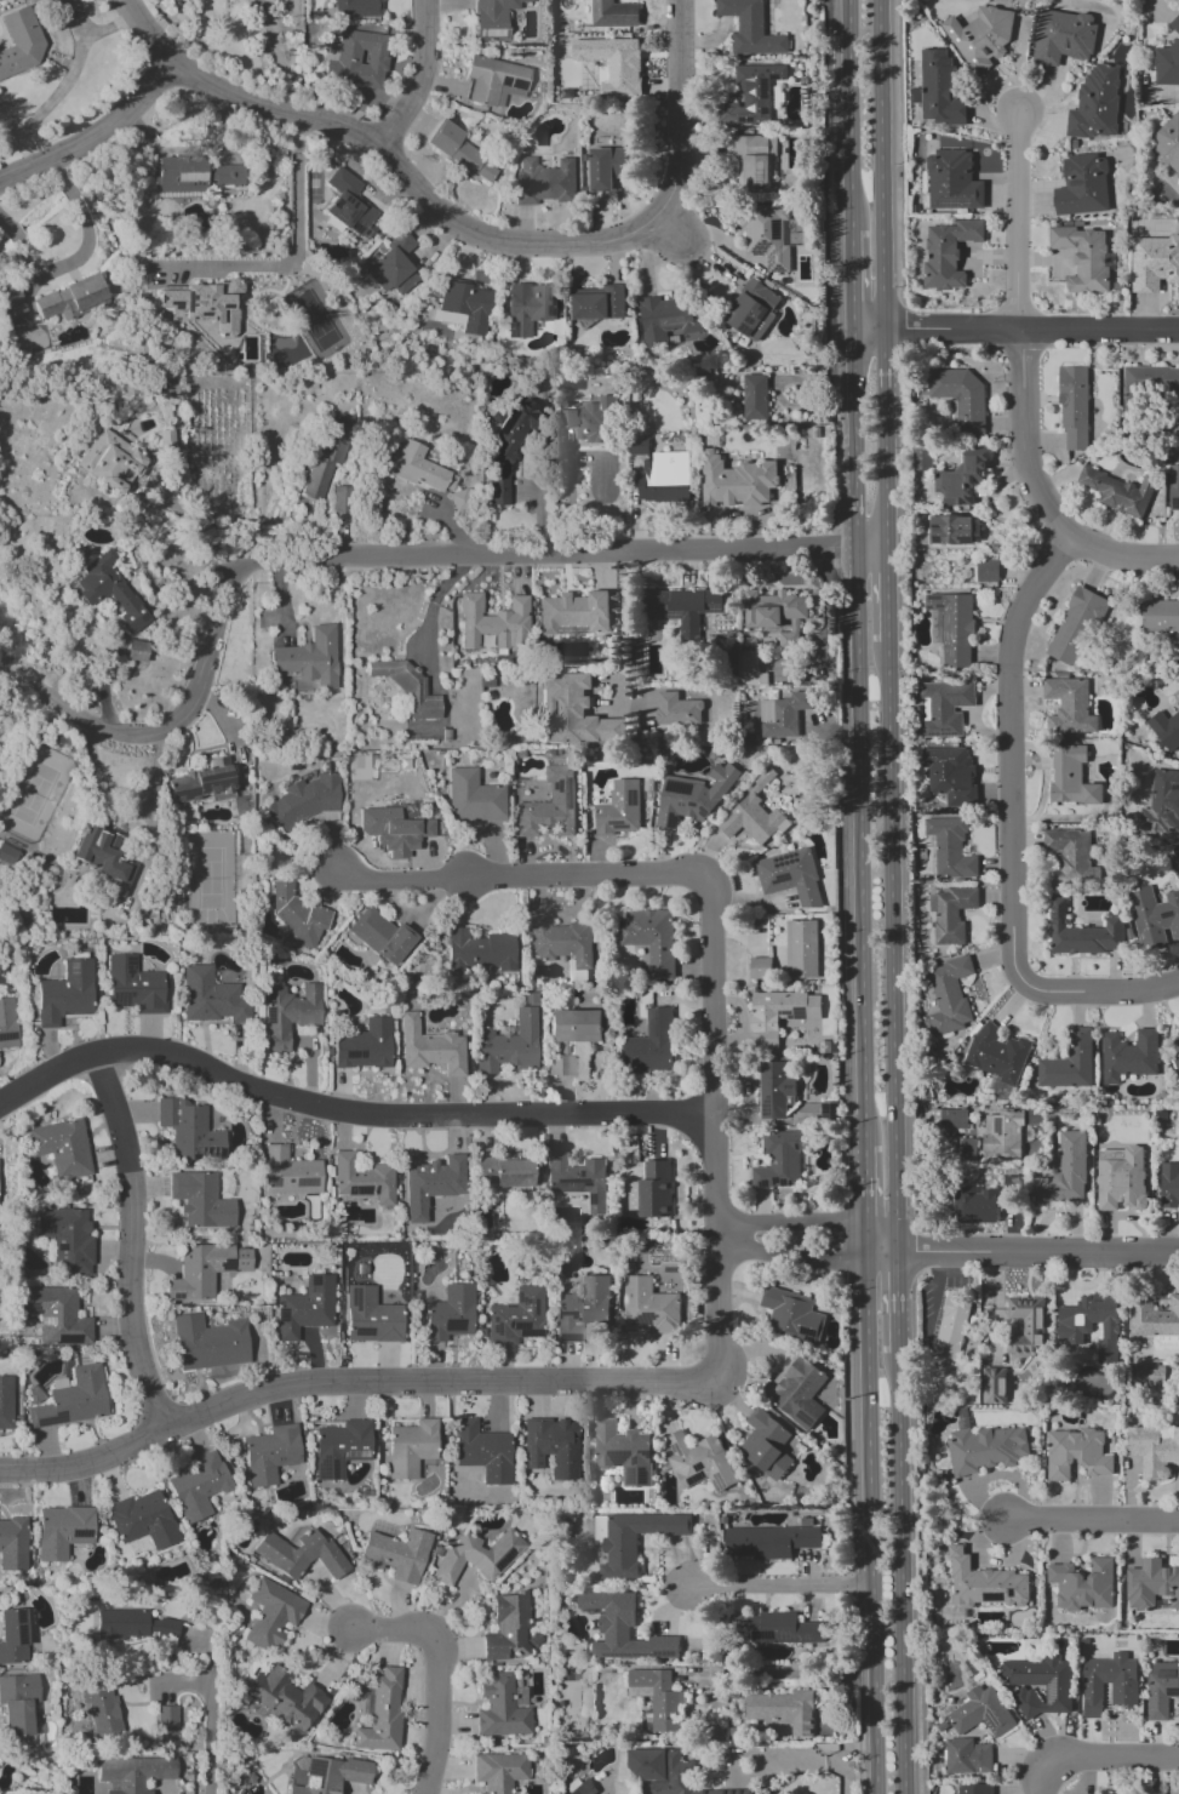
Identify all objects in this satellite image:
building: (355, 8)
building: (613, 13)
building: (492, 17)
building: (750, 28)
building: (1063, 36)
building: (980, 38)
building: (19, 42)
building: (355, 59)
building: (1167, 59)
building: (613, 63)
rooftop solar panel: (773, 76)
road: (422, 78)
building: (493, 81)
rooftop solar panel: (505, 82)
rooftop solar panel: (522, 84)
rooftop solar panel: (765, 88)
building: (938, 90)
building: (751, 95)
building: (1095, 103)
road: (845, 115)
rooftop solar panel: (739, 119)
rooftop solar panel: (749, 120)
road: (91, 136)
building: (1168, 144)
building: (462, 153)
building: (755, 161)
road: (878, 164)
building: (608, 166)
building: (191, 175)
building: (544, 181)
building: (952, 181)
building: (1082, 185)
rooftop solar panel: (342, 200)
rooftop solar panel: (349, 202)
rooftop solar panel: (332, 204)
rooftop solar panel: (948, 204)
rooftop solar panel: (967, 205)
building: (350, 206)
rooftop solar panel: (351, 207)
road: (1017, 219)
rooftop solar panel: (333, 222)
rooftop solar panel: (355, 229)
road: (475, 233)
building: (766, 234)
rooftop solar panel: (365, 235)
rooftop solar panel: (760, 248)
road: (294, 252)
building: (948, 252)
building: (1084, 257)
road: (76, 258)
rooftop solar panel: (769, 258)
building: (1154, 262)
rooftop solar panel: (768, 264)
building: (393, 267)
rooftop solar panel: (778, 270)
road: (847, 279)
building: (70, 298)
building: (12, 302)
building: (205, 303)
building: (597, 303)
rooftop solar panel: (553, 304)
building: (528, 307)
building: (462, 308)
building: (752, 309)
rooftop solar panel: (761, 312)
building: (666, 320)
rooftop solar panel: (749, 321)
road: (932, 327)
road: (1098, 327)
rooftop solar panel: (744, 331)
rooftop solar panel: (511, 332)
road: (882, 364)
road: (848, 382)
building: (1145, 388)
building: (754, 396)
building: (960, 398)
building: (1074, 406)
rooftop solar panel: (505, 421)
building: (590, 421)
building: (509, 447)
building: (921, 458)
building: (325, 461)
building: (108, 462)
building: (417, 469)
road: (882, 475)
building: (664, 478)
building: (962, 478)
building: (736, 481)
building: (1173, 489)
building: (1117, 491)
road: (849, 492)
road: (571, 493)
road: (1036, 493)
building: (459, 501)
road: (185, 524)
building: (951, 530)
rooftop solar panel: (938, 531)
rooftop solar panel: (937, 543)
rooftop solar panel: (967, 543)
road: (382, 556)
building: (986, 571)
building: (109, 590)
road: (883, 596)
rooftop solar panel: (934, 599)
building: (682, 609)
rooftop solar panel: (711, 609)
building: (574, 613)
building: (774, 615)
building: (1160, 615)
rooftop solar panel: (669, 616)
road: (430, 618)
rooftop solar panel: (946, 619)
building: (493, 622)
building: (951, 625)
building: (1075, 625)
road: (618, 628)
rooftop solar panel: (948, 636)
building: (136, 650)
rooftop solar panel: (950, 653)
building: (307, 661)
building: (746, 668)
building: (406, 687)
building: (1068, 705)
building: (944, 707)
building: (676, 710)
building: (574, 712)
building: (782, 714)
building: (1166, 729)
rooftop solar panel: (944, 736)
rooftop solar panel: (933, 737)
road: (1011, 756)
building: (949, 775)
building: (1071, 777)
rooftop solar panel: (210, 778)
building: (202, 782)
rooftop solar panel: (219, 784)
rooftop solar panel: (555, 785)
rooftop solar panel: (568, 790)
rooftop solar panel: (184, 795)
building: (692, 796)
building: (305, 798)
building: (473, 798)
rooftop solar panel: (633, 798)
building: (1162, 802)
rooftop solar panel: (693, 804)
building: (549, 805)
rooftop solar panel: (567, 807)
building: (618, 809)
building: (407, 812)
rooftop solar panel: (703, 813)
rooftop solar panel: (570, 815)
road: (118, 816)
building: (752, 817)
rooftop solar panel: (670, 822)
rooftop solar panel: (618, 825)
building: (393, 830)
road: (854, 849)
building: (949, 849)
building: (1174, 855)
building: (7, 856)
building: (101, 857)
building: (789, 876)
rooftop solar panel: (783, 880)
rooftop solar panel: (1064, 910)
building: (950, 914)
rooftop solar panel: (1055, 915)
building: (1154, 918)
building: (297, 919)
building: (1082, 933)
building: (379, 936)
road: (710, 936)
building: (651, 939)
building: (560, 941)
road: (889, 942)
building: (801, 949)
building: (479, 952)
rooftop solar panel: (128, 965)
building: (760, 967)
building: (133, 987)
road: (1103, 993)
building: (64, 994)
building: (949, 995)
building: (212, 996)
rooftop solar panel: (122, 999)
rooftop solar panel: (775, 1012)
rooftop solar panel: (784, 1012)
building: (288, 1013)
building: (779, 1013)
rooftop solar panel: (797, 1013)
rooftop solar panel: (786, 1016)
building: (7, 1023)
building: (574, 1025)
building: (508, 1042)
building: (651, 1044)
building: (364, 1045)
building: (430, 1047)
building: (1174, 1055)
rooftop solar panel: (350, 1056)
building: (1128, 1056)
building: (997, 1057)
building: (1068, 1062)
rooftop solar panel: (785, 1089)
building: (774, 1090)
rooftop solar panel: (765, 1107)
rooftop solar panel: (828, 1109)
rooftop solar panel: (835, 1110)
road: (344, 1114)
building: (949, 1119)
rooftop solar panel: (996, 1126)
building: (189, 1131)
building: (1007, 1131)
building: (61, 1147)
building: (778, 1161)
building: (290, 1172)
building: (502, 1172)
building: (1063, 1173)
building: (362, 1178)
building: (1120, 1178)
rooftop solar panel: (567, 1179)
building: (578, 1179)
rooftop solar panel: (774, 1181)
rooftop solar panel: (308, 1183)
rooftop solar panel: (782, 1183)
rooftop solar panel: (790, 1183)
building: (431, 1184)
rooftop solar panel: (763, 1185)
building: (1169, 1185)
rooftop solar panel: (355, 1189)
building: (654, 1189)
road: (860, 1195)
building: (200, 1200)
building: (974, 1205)
rooftop solar panel: (45, 1225)
building: (65, 1238)
rooftop solar panel: (62, 1239)
road: (859, 1239)
road: (131, 1241)
rooftop solar panel: (62, 1247)
road: (1019, 1247)
rooftop solar panel: (61, 1261)
rooftop solar panel: (225, 1264)
building: (207, 1272)
rooftop solar panel: (307, 1282)
road: (895, 1296)
rooftop solar panel: (349, 1297)
rooftop solar panel: (522, 1302)
building: (304, 1307)
rooftop solar panel: (533, 1307)
building: (648, 1307)
rooftop solar panel: (25, 1308)
building: (583, 1310)
building: (448, 1313)
rooftop solar panel: (565, 1313)
building: (791, 1315)
building: (370, 1316)
building: (57, 1318)
building: (515, 1318)
building: (1152, 1318)
rooftop solar panel: (45, 1320)
rooftop solar panel: (492, 1320)
building: (1024, 1324)
rooftop solar panel: (448, 1326)
building: (952, 1326)
rooftop solar panel: (497, 1329)
building: (1074, 1329)
rooftop solar panel: (527, 1331)
rooftop solar panel: (360, 1333)
rooftop solar panel: (566, 1338)
building: (208, 1342)
building: (1146, 1375)
road: (345, 1384)
building: (994, 1384)
building: (799, 1392)
building: (71, 1399)
building: (5, 1402)
building: (765, 1444)
building: (551, 1446)
building: (340, 1447)
building: (411, 1447)
rooftop solar panel: (675, 1449)
building: (985, 1449)
building: (1154, 1450)
building: (482, 1451)
building: (623, 1452)
rooftop solar panel: (646, 1453)
building: (1076, 1453)
building: (271, 1455)
rooftop solar panel: (618, 1458)
building: (699, 1461)
rooftop solar panel: (698, 1468)
rooftop solar panel: (322, 1469)
rooftop solar panel: (328, 1469)
rooftop solar panel: (633, 1476)
rooftop solar panel: (641, 1479)
rooftop solar panel: (696, 1480)
rooftop solar panel: (719, 1484)
building: (198, 1485)
road: (866, 1518)
building: (142, 1519)
road: (1091, 1521)
building: (62, 1531)
rooftop solar panel: (78, 1533)
building: (631, 1538)
building: (767, 1541)
building: (12, 1543)
building: (299, 1554)
building: (397, 1554)
building: (476, 1556)
rooftop solar panel: (503, 1561)
road: (900, 1572)
road: (779, 1584)
building: (1082, 1584)
building: (1151, 1584)
building: (980, 1586)
building: (271, 1613)
rooftop solar panel: (19, 1615)
building: (133, 1627)
building: (506, 1628)
building: (623, 1629)
building: (773, 1629)
road: (390, 1634)
rooftop solar panel: (760, 1635)
building: (12, 1636)
rooftop solar panel: (19, 1636)
rooftop solar panel: (792, 1636)
rooftop solar panel: (664, 1655)
rooftop solar panel: (618, 1656)
road: (785, 1672)
rooftop solar panel: (1167, 1673)
building: (1109, 1682)
building: (1040, 1684)
building: (1162, 1690)
rooftop solar panel: (1171, 1690)
building: (657, 1697)
building: (286, 1699)
building: (17, 1704)
building: (500, 1707)
road: (207, 1708)
building: (101, 1709)
building: (782, 1710)
building: (380, 1713)
building: (980, 1713)
road: (439, 1714)
building: (166, 1724)
building: (967, 1756)
road: (1098, 1756)
road: (813, 1761)
rooftop solar panel: (314, 1769)
building: (498, 1771)
building: (132, 1772)
building: (665, 1772)
road: (848, 1772)
building: (330, 1775)
rooftop solar panel: (311, 1784)
building: (579, 1787)
building: (974, 1789)
road: (170, 1792)
building: (1146, 1793)

